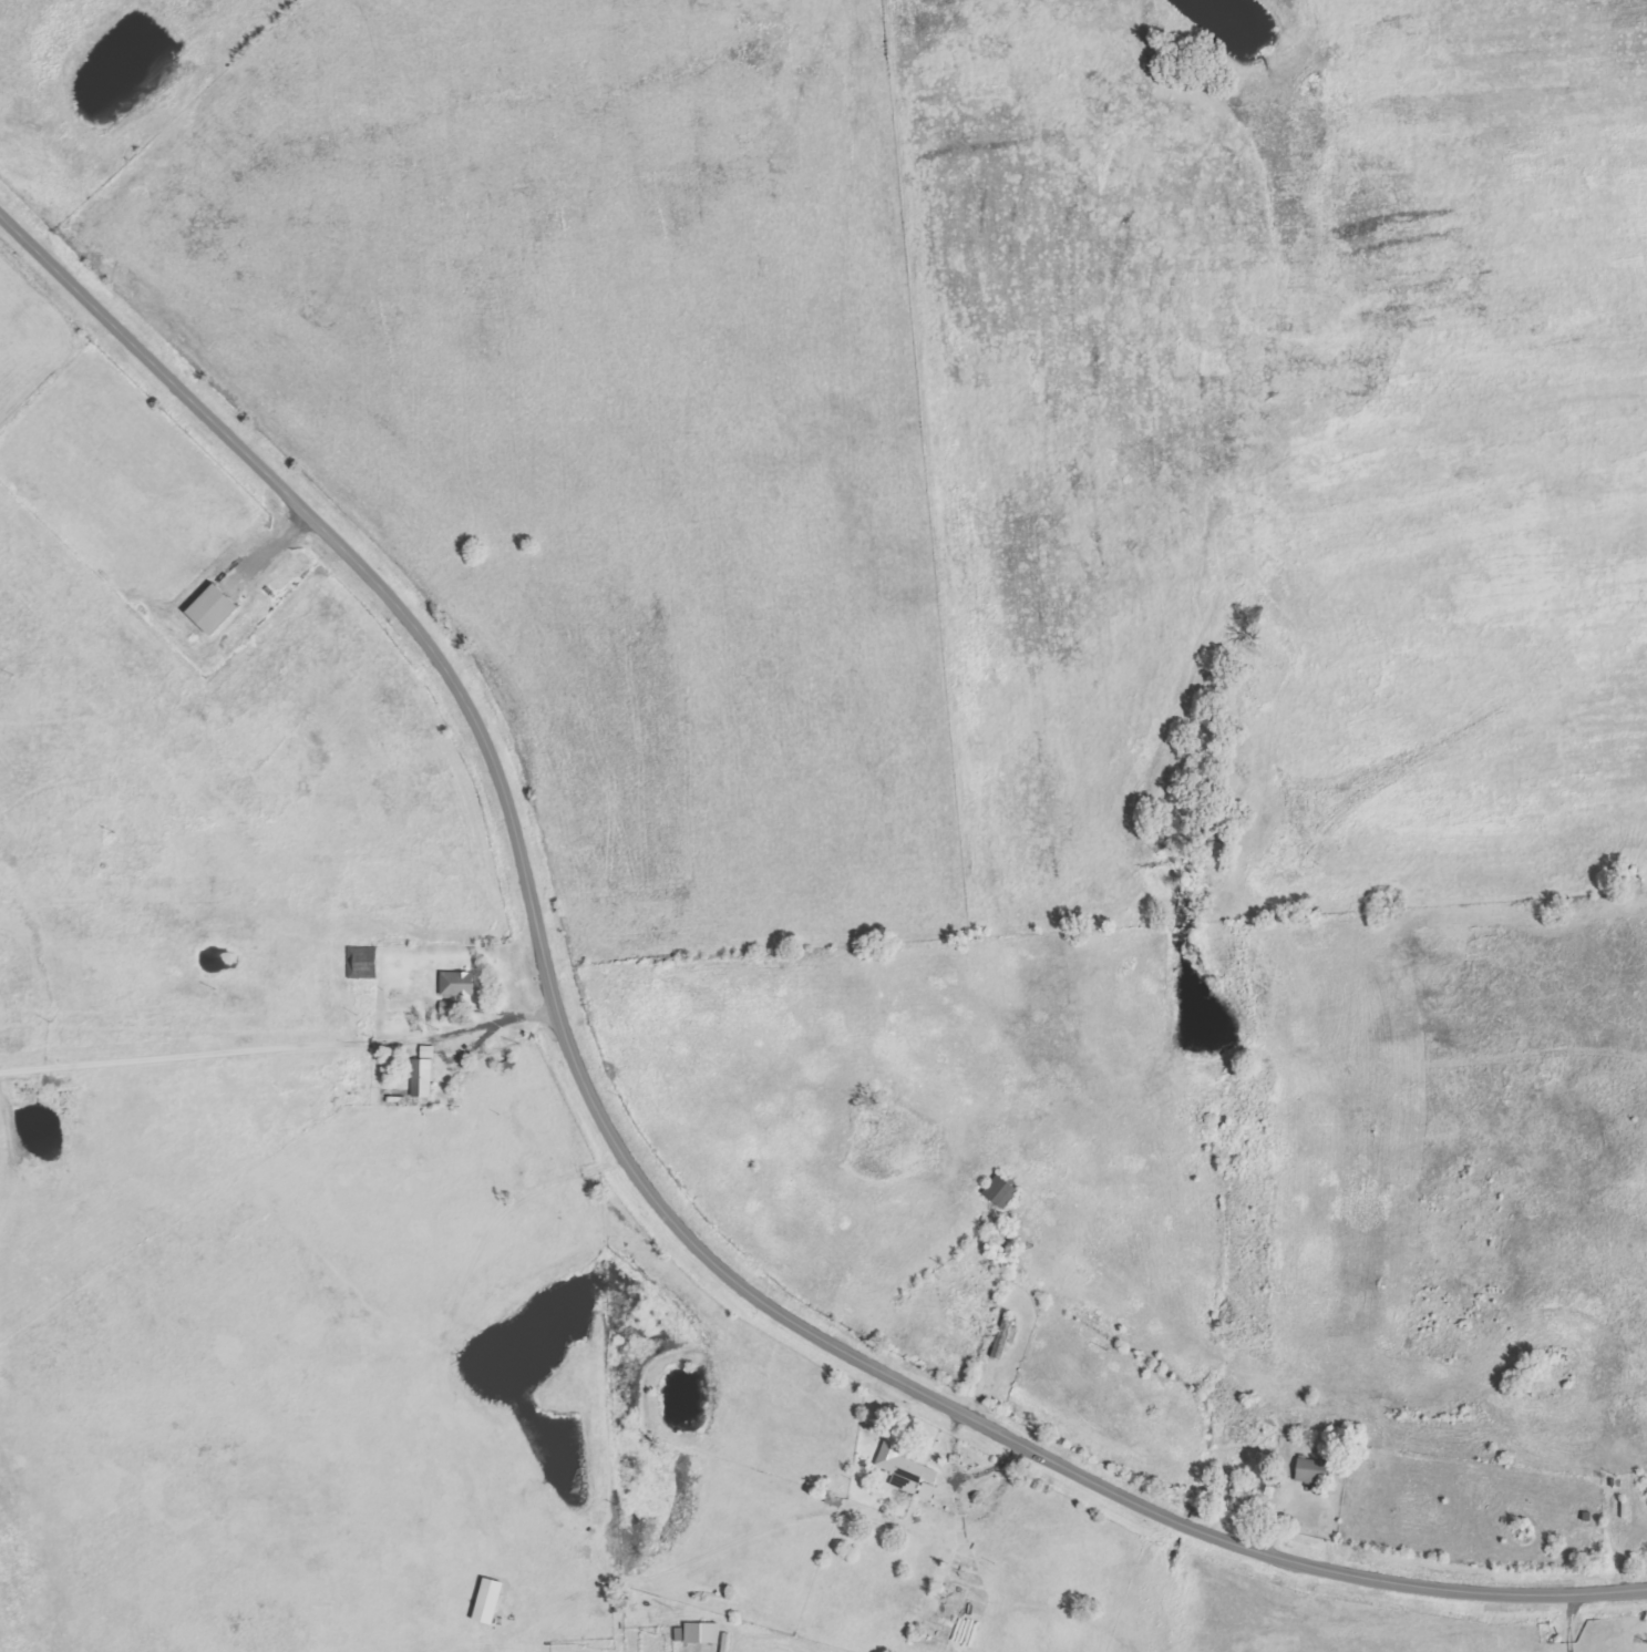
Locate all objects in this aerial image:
road: (841, 485)
building: (208, 608)
building: (455, 984)
building: (421, 1073)
road: (621, 1153)
building: (998, 1191)
building: (902, 1468)
building: (1309, 1470)
road: (745, 1523)
building: (485, 1601)
building: (699, 1633)

